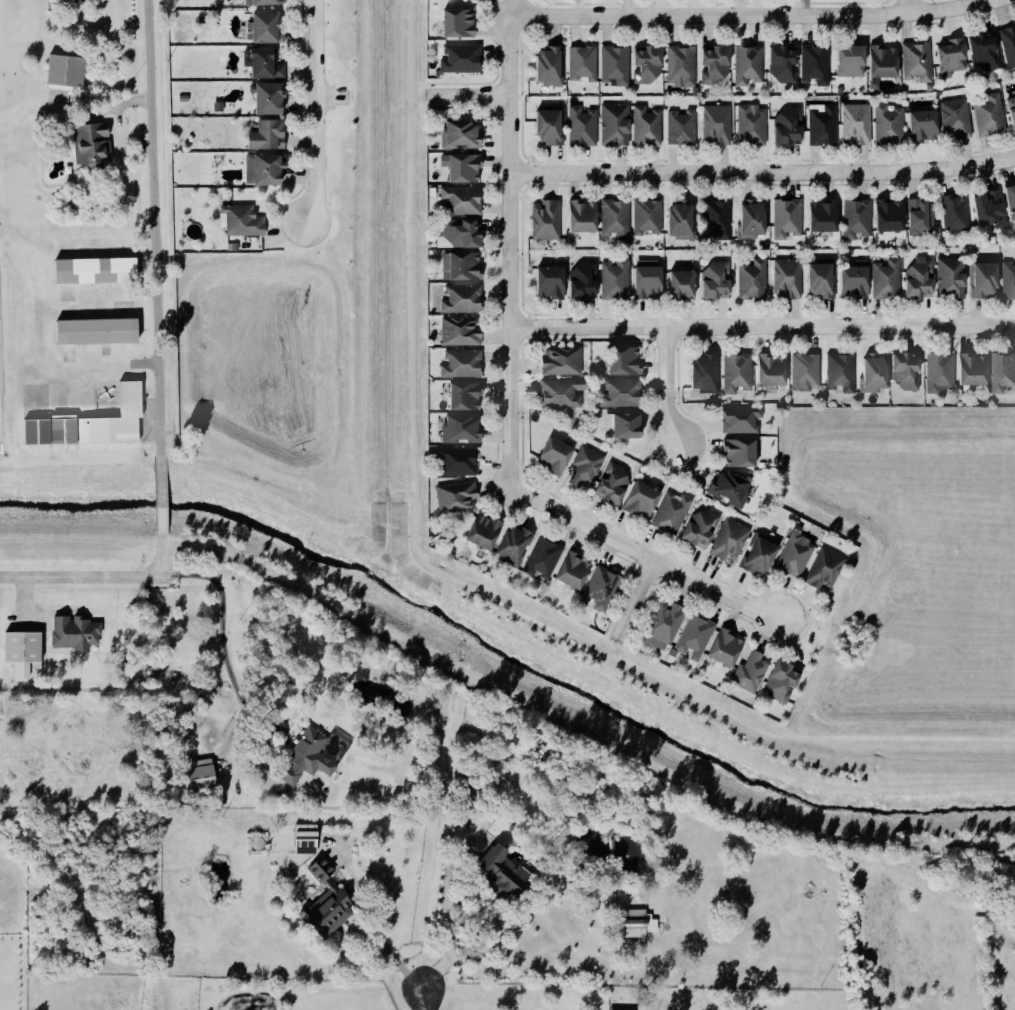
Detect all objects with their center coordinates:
building: (463, 1)
building: (265, 2)
road: (909, 5)
road: (751, 14)
building: (460, 23)
building: (267, 29)
building: (1009, 45)
building: (987, 50)
building: (954, 57)
building: (463, 59)
building: (853, 61)
building: (886, 62)
building: (918, 62)
building: (267, 63)
building: (584, 64)
building: (649, 65)
building: (749, 65)
building: (817, 65)
building: (551, 66)
building: (616, 66)
building: (717, 66)
building: (682, 67)
building: (67, 71)
road: (469, 96)
road: (329, 98)
building: (271, 99)
building: (1013, 110)
road: (312, 112)
building: (991, 116)
building: (957, 119)
building: (858, 124)
building: (752, 125)
building: (824, 125)
building: (890, 125)
building: (926, 125)
building: (616, 126)
building: (717, 126)
building: (551, 127)
building: (648, 127)
building: (583, 128)
building: (683, 128)
building: (790, 128)
building: (462, 135)
building: (269, 136)
building: (93, 146)
building: (464, 168)
building: (266, 170)
road: (763, 172)
building: (1012, 200)
building: (463, 201)
building: (992, 212)
building: (957, 214)
building: (892, 216)
building: (826, 217)
building: (585, 218)
building: (648, 218)
building: (788, 219)
building: (858, 219)
building: (617, 220)
building: (717, 220)
building: (244, 221)
building: (547, 221)
building: (683, 221)
building: (753, 221)
road: (152, 230)
road: (511, 251)
building: (463, 268)
building: (97, 271)
building: (953, 278)
building: (650, 279)
building: (788, 279)
building: (921, 279)
building: (824, 280)
building: (985, 280)
building: (617, 281)
building: (753, 281)
building: (857, 281)
building: (888, 281)
building: (1009, 281)
building: (586, 282)
building: (718, 282)
building: (553, 283)
building: (684, 285)
building: (463, 301)
road: (762, 326)
building: (461, 332)
building: (96, 333)
airport: (73, 340)
building: (563, 361)
building: (627, 361)
building: (463, 365)
building: (774, 371)
building: (806, 371)
building: (977, 371)
building: (739, 373)
building: (842, 373)
building: (908, 373)
building: (943, 373)
building: (1004, 373)
building: (709, 374)
building: (876, 375)
road: (667, 385)
building: (564, 394)
building: (623, 394)
building: (467, 397)
building: (742, 420)
building: (625, 426)
building: (91, 427)
building: (463, 430)
building: (742, 454)
building: (557, 457)
building: (458, 462)
building: (588, 468)
building: (616, 484)
building: (732, 489)
building: (457, 497)
road: (158, 499)
building: (644, 501)
building: (674, 514)
building: (703, 530)
building: (486, 533)
building: (731, 542)
building: (516, 545)
road: (645, 555)
building: (797, 556)
building: (762, 557)
road: (159, 558)
building: (544, 559)
building: (826, 570)
building: (575, 572)
road: (80, 579)
building: (602, 589)
road: (635, 599)
building: (667, 627)
road: (224, 630)
building: (76, 633)
building: (696, 638)
building: (728, 649)
building: (24, 654)
building: (751, 673)
building: (784, 683)
building: (310, 759)
building: (199, 779)
building: (307, 840)
building: (323, 871)
building: (506, 875)
building: (329, 913)
road: (494, 923)
building: (639, 924)
road: (360, 927)
road: (422, 1001)

